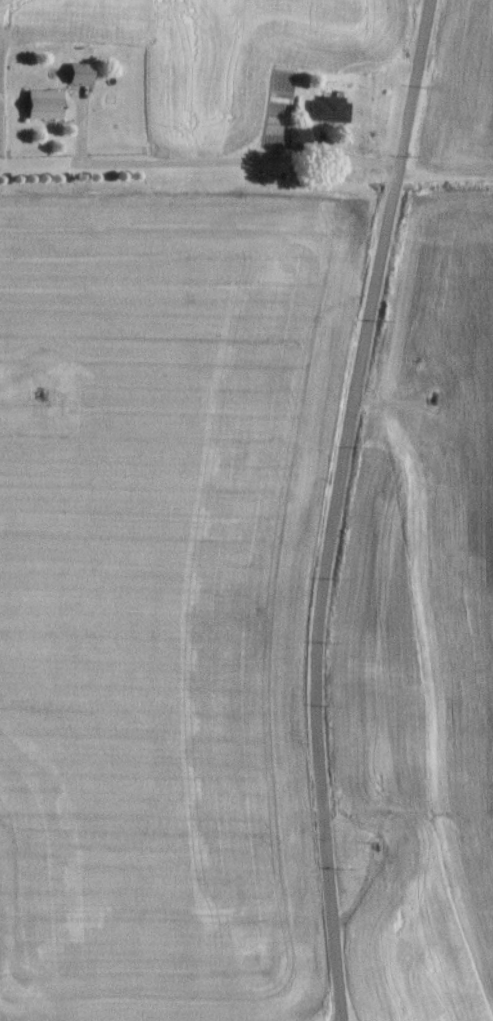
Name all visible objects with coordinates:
building: (80, 78)
building: (44, 110)
building: (326, 116)
building: (299, 141)
road: (213, 164)
road: (14, 409)
road: (334, 507)

